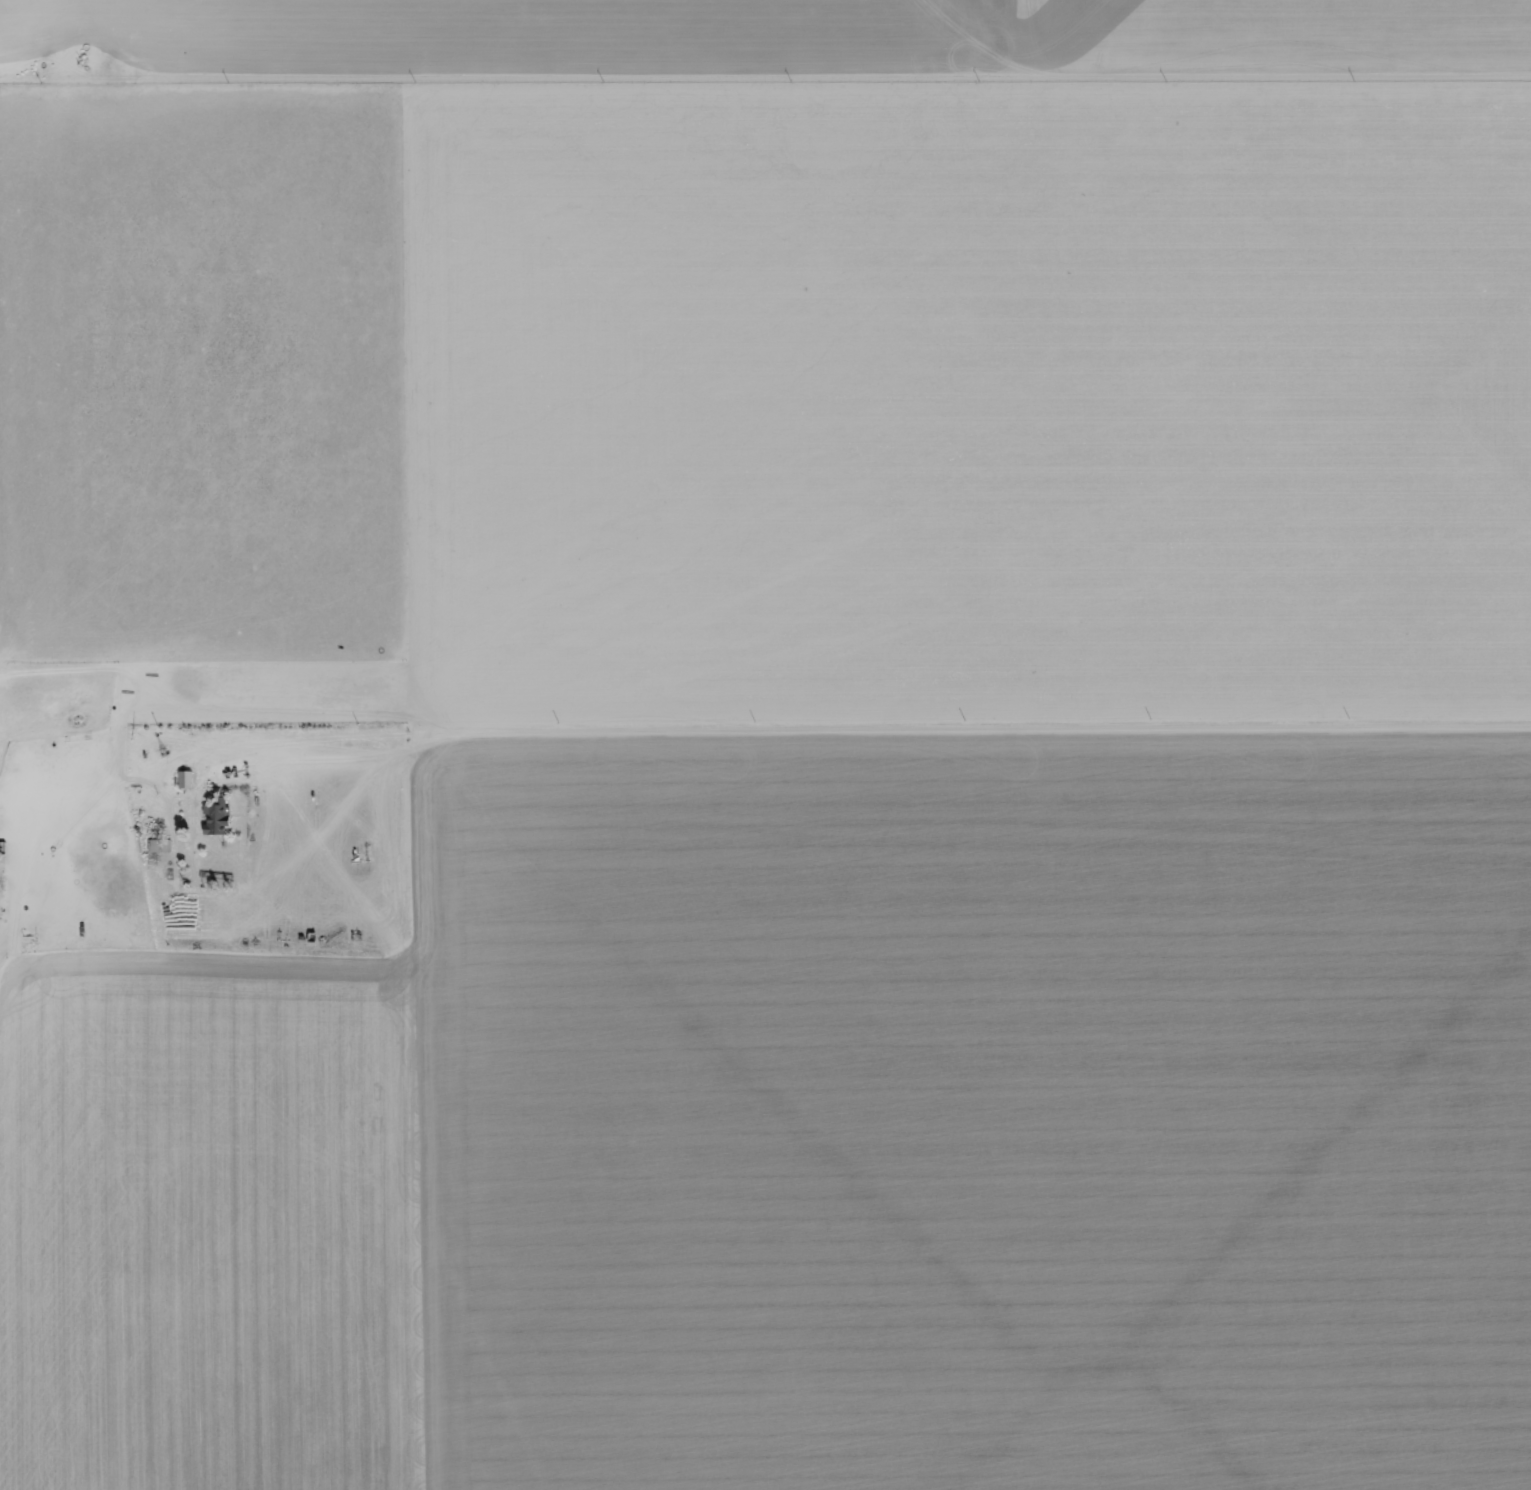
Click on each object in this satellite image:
road: (765, 80)
road: (880, 733)
building: (185, 780)
building: (216, 821)
building: (160, 846)

